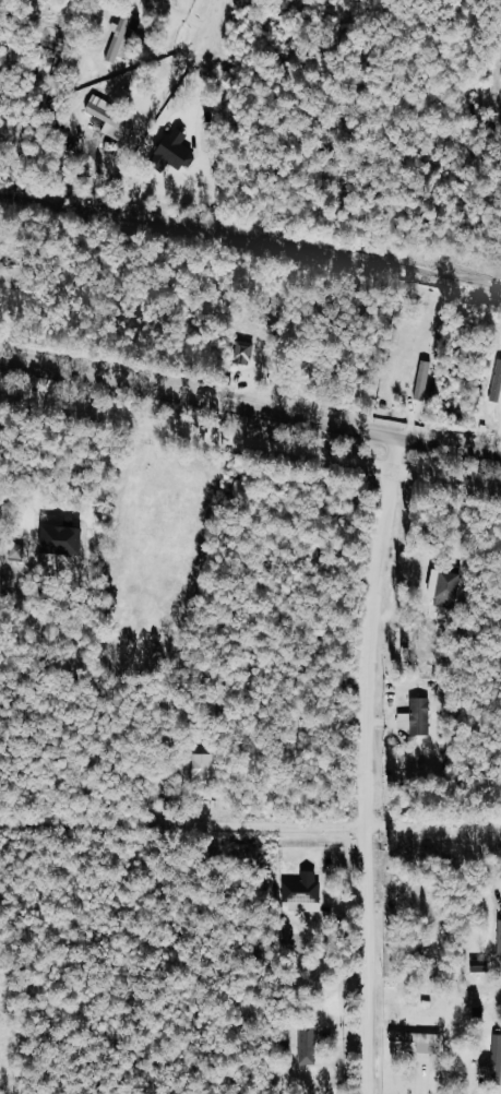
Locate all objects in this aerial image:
road: (212, 19)
building: (121, 37)
road: (170, 73)
road: (498, 83)
building: (110, 117)
building: (176, 148)
building: (246, 352)
building: (425, 380)
building: (498, 384)
road: (250, 406)
road: (250, 440)
building: (64, 540)
building: (448, 584)
building: (419, 717)
road: (363, 763)
building: (202, 768)
road: (250, 827)
building: (303, 892)
building: (499, 940)
building: (482, 965)
building: (313, 1039)
building: (421, 1039)
building: (493, 1061)

